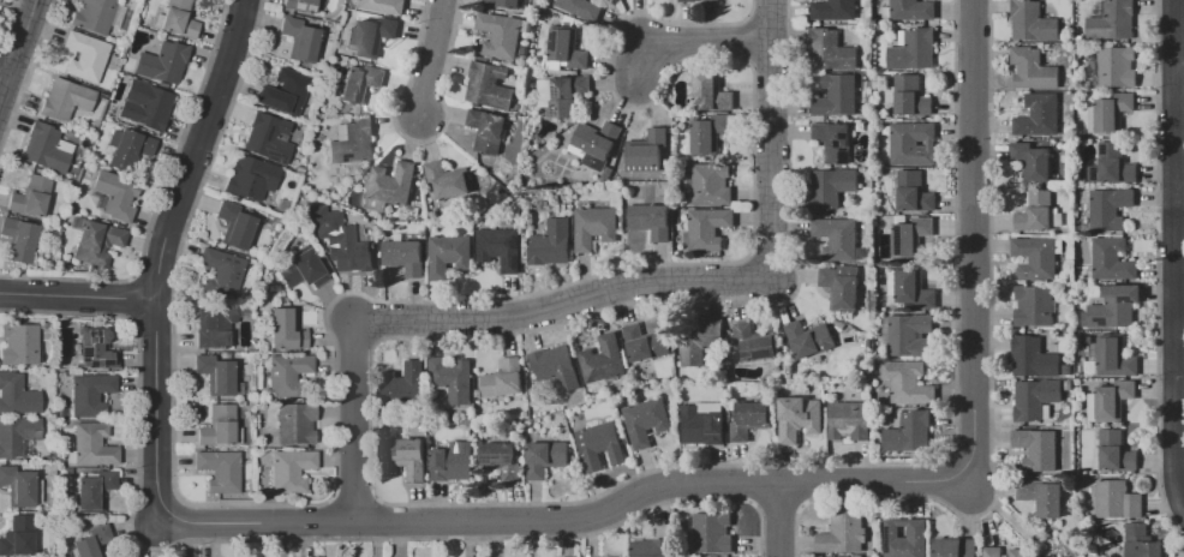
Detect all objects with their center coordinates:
building: (687, 0)
building: (710, 1)
building: (502, 2)
building: (300, 5)
building: (384, 5)
building: (581, 7)
building: (833, 10)
building: (913, 10)
building: (94, 16)
road: (767, 16)
road: (8, 19)
building: (178, 19)
building: (1112, 20)
building: (1033, 22)
road: (1174, 31)
building: (500, 34)
building: (371, 36)
road: (746, 37)
road: (1171, 37)
building: (299, 38)
road: (686, 41)
road: (16, 46)
building: (568, 48)
building: (831, 49)
building: (913, 49)
road: (16, 52)
building: (85, 56)
road: (430, 56)
road: (766, 60)
building: (162, 62)
road: (1179, 64)
building: (1117, 66)
building: (1033, 68)
road: (26, 73)
road: (2, 74)
building: (360, 83)
building: (489, 85)
road: (1171, 89)
building: (711, 91)
building: (283, 92)
building: (562, 94)
building: (837, 95)
building: (910, 96)
building: (65, 98)
road: (7, 101)
building: (144, 104)
building: (1111, 113)
building: (1039, 114)
building: (486, 130)
building: (710, 133)
building: (268, 138)
road: (772, 139)
road: (417, 140)
building: (597, 140)
building: (833, 140)
building: (352, 142)
building: (913, 143)
building: (47, 148)
building: (127, 148)
building: (646, 150)
building: (1033, 161)
building: (1112, 164)
building: (608, 173)
building: (250, 175)
building: (449, 180)
building: (712, 184)
building: (389, 186)
building: (831, 187)
building: (914, 191)
building: (115, 194)
building: (31, 197)
road: (156, 200)
building: (1108, 208)
building: (1036, 211)
building: (651, 220)
building: (74, 222)
building: (234, 223)
building: (596, 227)
building: (707, 227)
building: (910, 235)
building: (19, 239)
building: (837, 239)
road: (973, 239)
building: (96, 242)
building: (551, 242)
building: (501, 247)
building: (347, 248)
road: (159, 250)
building: (449, 254)
building: (405, 256)
building: (1036, 257)
building: (1111, 258)
building: (301, 269)
building: (221, 271)
road: (1158, 276)
road: (153, 277)
road: (1173, 285)
building: (841, 286)
building: (910, 288)
road: (76, 295)
road: (130, 298)
road: (399, 300)
road: (563, 304)
building: (1034, 305)
building: (1113, 306)
road: (150, 322)
building: (213, 325)
building: (285, 330)
building: (911, 334)
building: (809, 337)
building: (699, 340)
building: (754, 341)
building: (646, 342)
building: (18, 345)
building: (96, 348)
building: (1033, 357)
building: (1114, 357)
building: (603, 359)
building: (556, 367)
building: (216, 375)
building: (287, 375)
building: (452, 378)
building: (504, 378)
road: (989, 381)
building: (908, 382)
building: (405, 384)
building: (90, 394)
building: (17, 395)
building: (1035, 397)
building: (1113, 399)
building: (1090, 406)
building: (799, 418)
building: (751, 419)
building: (646, 420)
building: (849, 420)
road: (353, 421)
building: (294, 423)
building: (704, 423)
building: (217, 426)
building: (909, 432)
building: (17, 435)
building: (92, 444)
building: (600, 445)
building: (1038, 448)
building: (1114, 450)
building: (406, 457)
building: (546, 457)
building: (453, 461)
building: (502, 461)
building: (220, 471)
building: (291, 471)
road: (748, 481)
road: (801, 481)
building: (18, 486)
building: (94, 490)
road: (353, 496)
building: (1044, 496)
building: (1118, 499)
road: (773, 502)
road: (453, 503)
road: (331, 516)
road: (375, 516)
road: (777, 517)
road: (564, 519)
building: (712, 532)
building: (843, 532)
building: (17, 537)
building: (905, 538)
road: (294, 539)
building: (92, 541)
building: (1141, 541)
building: (652, 547)
building: (956, 547)
building: (992, 551)
building: (1017, 552)
building: (561, 556)
building: (829, 556)
building: (1051, 556)

